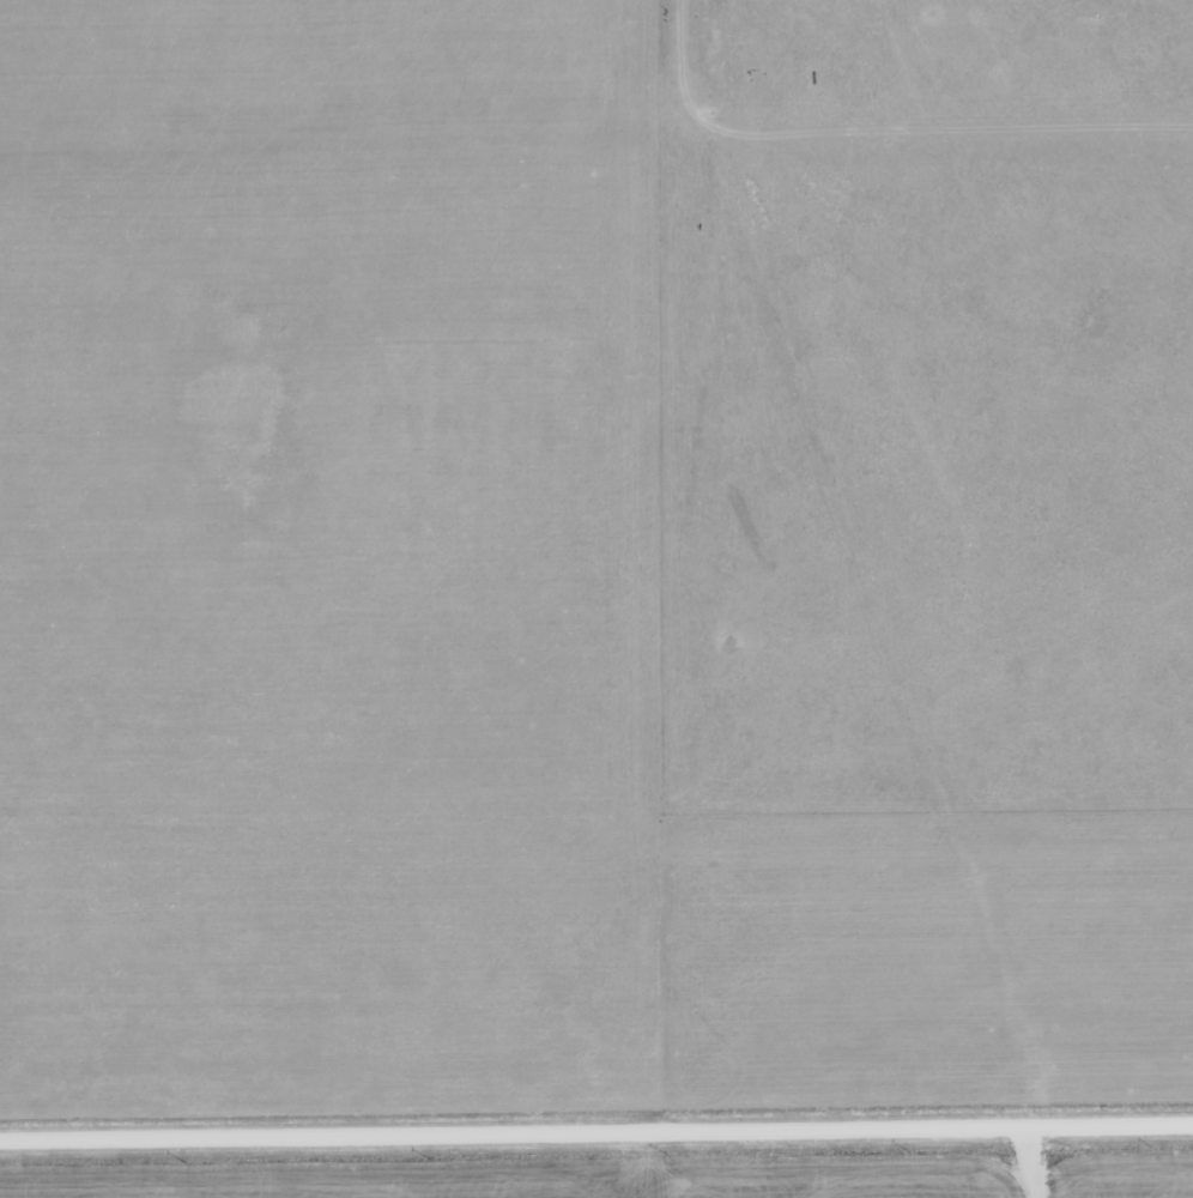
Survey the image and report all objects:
road: (596, 1127)

